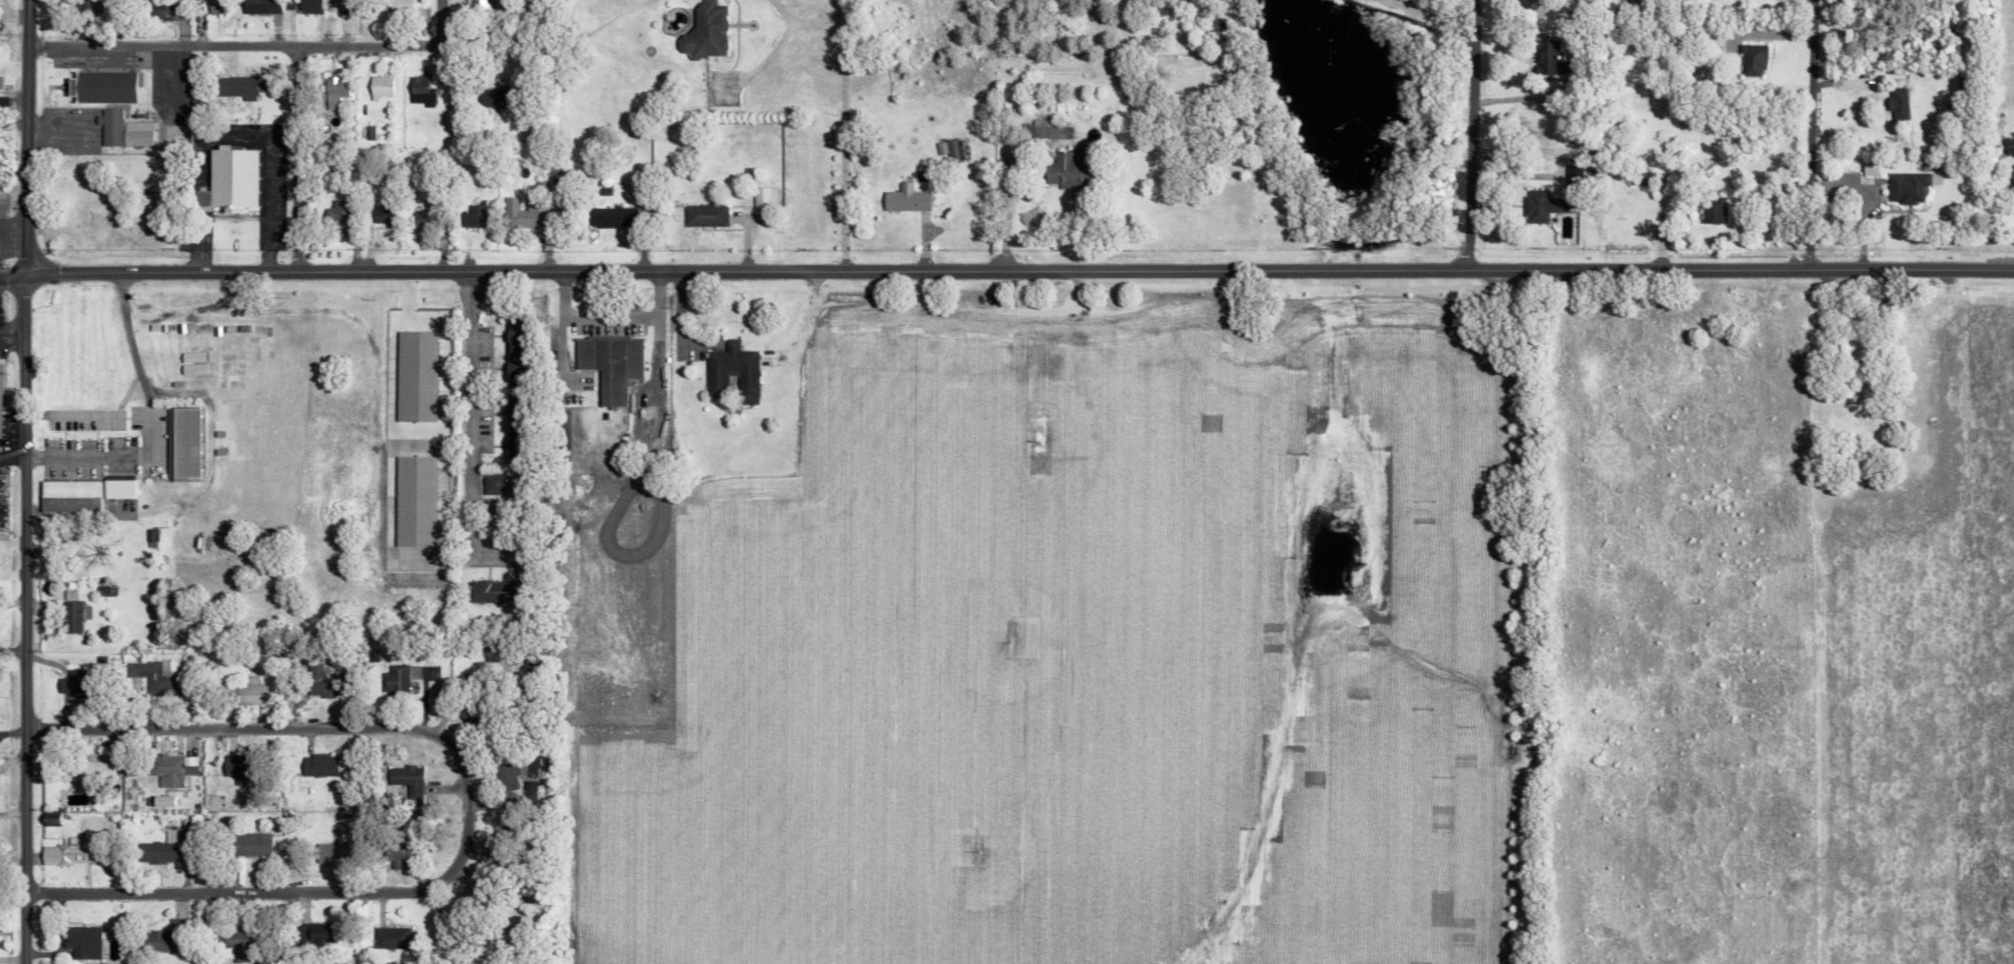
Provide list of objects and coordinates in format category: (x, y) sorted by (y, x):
building: (399, 4)
building: (476, 4)
building: (259, 6)
building: (307, 6)
building: (347, 6)
building: (215, 7)
building: (163, 10)
road: (1426, 14)
road: (12, 15)
road: (436, 21)
building: (706, 31)
road: (266, 43)
building: (1547, 56)
building: (1751, 59)
building: (104, 85)
building: (234, 87)
building: (379, 87)
building: (332, 90)
building: (419, 91)
road: (1515, 95)
building: (492, 96)
road: (11, 99)
building: (1898, 104)
road: (838, 114)
building: (109, 126)
building: (135, 133)
road: (1804, 134)
road: (1464, 135)
road: (22, 137)
building: (951, 149)
road: (292, 156)
building: (1066, 167)
road: (1506, 170)
building: (1570, 175)
building: (2012, 176)
building: (1641, 177)
building: (227, 179)
building: (1905, 187)
building: (762, 197)
building: (903, 199)
building: (1541, 206)
building: (1714, 211)
building: (338, 215)
building: (522, 215)
building: (704, 215)
building: (382, 216)
building: (472, 216)
building: (419, 217)
building: (611, 217)
road: (999, 224)
road: (1017, 270)
road: (10, 276)
road: (609, 318)
road: (10, 337)
building: (515, 352)
building: (610, 364)
building: (731, 372)
road: (468, 411)
road: (69, 415)
building: (562, 418)
road: (150, 424)
building: (514, 430)
building: (185, 442)
building: (492, 483)
building: (117, 489)
building: (69, 496)
building: (152, 535)
building: (495, 591)
building: (73, 612)
road: (1519, 613)
road: (22, 620)
building: (431, 672)
building: (151, 675)
building: (398, 678)
building: (322, 682)
building: (73, 683)
building: (246, 693)
building: (319, 765)
building: (235, 768)
building: (169, 769)
building: (85, 772)
building: (506, 775)
building: (407, 783)
building: (162, 801)
road: (464, 809)
building: (251, 844)
building: (158, 849)
building: (73, 852)
building: (332, 853)
building: (394, 855)
road: (12, 876)
building: (467, 900)
building: (391, 937)
building: (164, 938)
building: (84, 942)
building: (234, 943)

